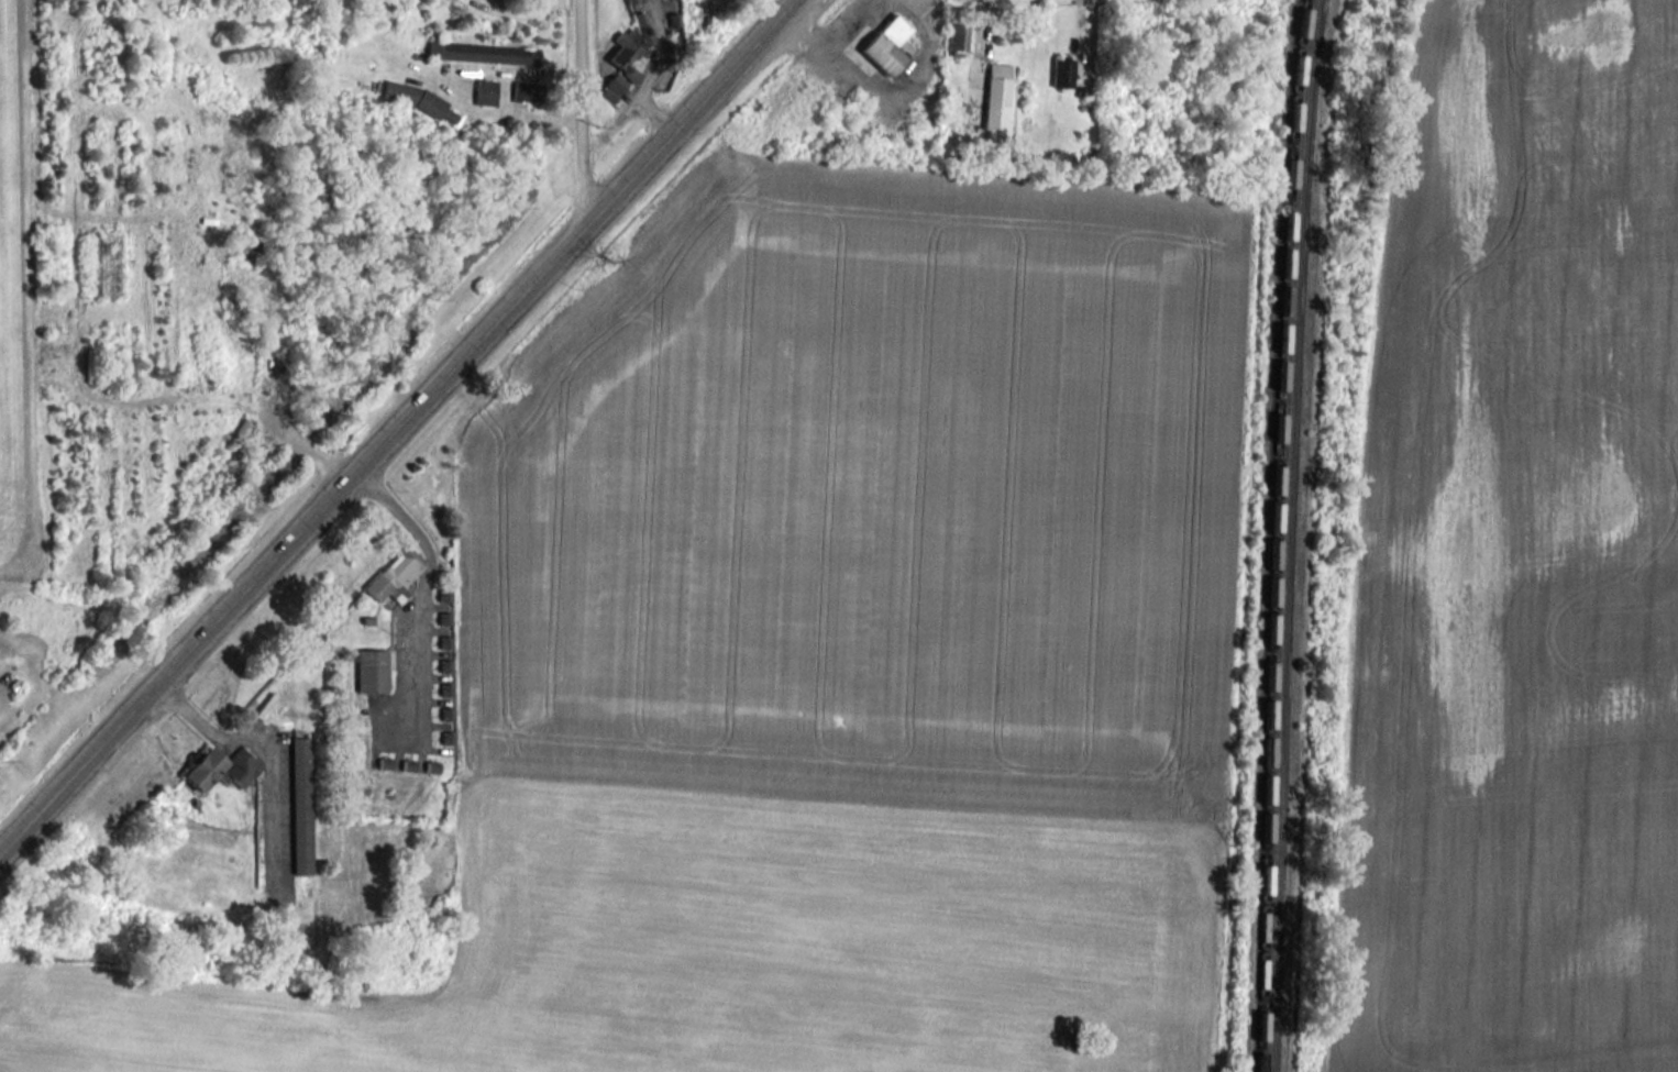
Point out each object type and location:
building: (958, 38)
building: (887, 45)
building: (627, 52)
building: (483, 53)
road: (650, 71)
building: (1062, 73)
building: (614, 87)
building: (523, 89)
building: (485, 91)
building: (996, 96)
building: (416, 98)
road: (586, 113)
road: (615, 122)
railway: (1291, 144)
railway: (1302, 145)
road: (399, 427)
building: (395, 575)
road: (420, 589)
building: (371, 671)
railway: (1268, 681)
railway: (1280, 681)
road: (276, 759)
building: (242, 766)
building: (203, 769)
building: (301, 805)

